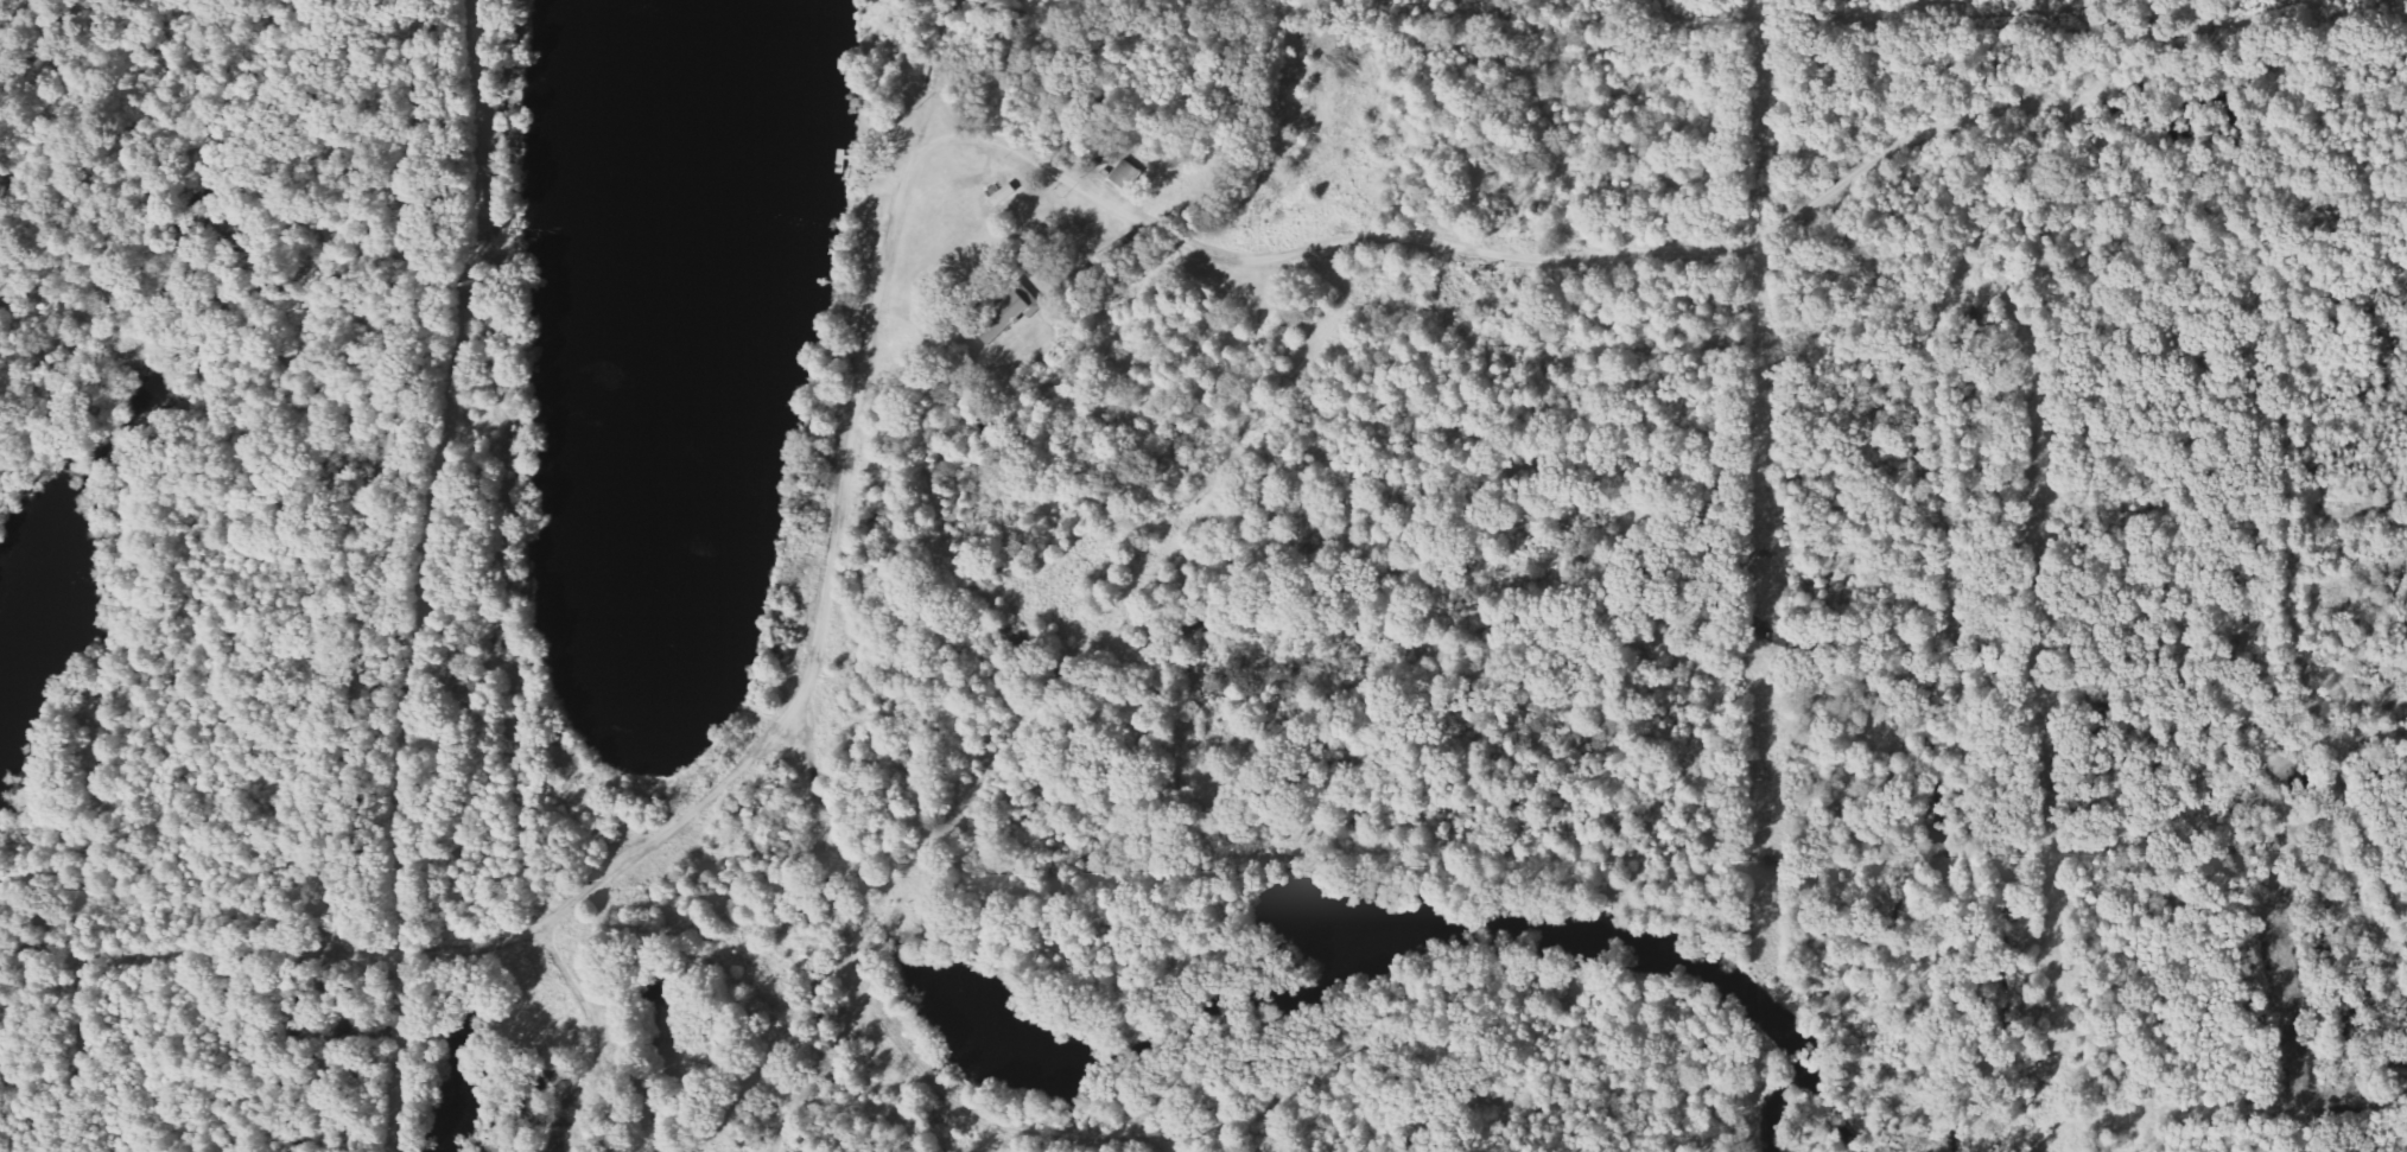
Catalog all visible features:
road: (14, 15)
road: (1196, 243)
building: (1011, 316)
road: (383, 475)
road: (1950, 533)
road: (825, 620)
road: (2379, 739)
road: (452, 746)
road: (2367, 836)
road: (164, 957)
road: (590, 1036)
road: (326, 1051)
road: (819, 1076)
road: (1034, 1137)

